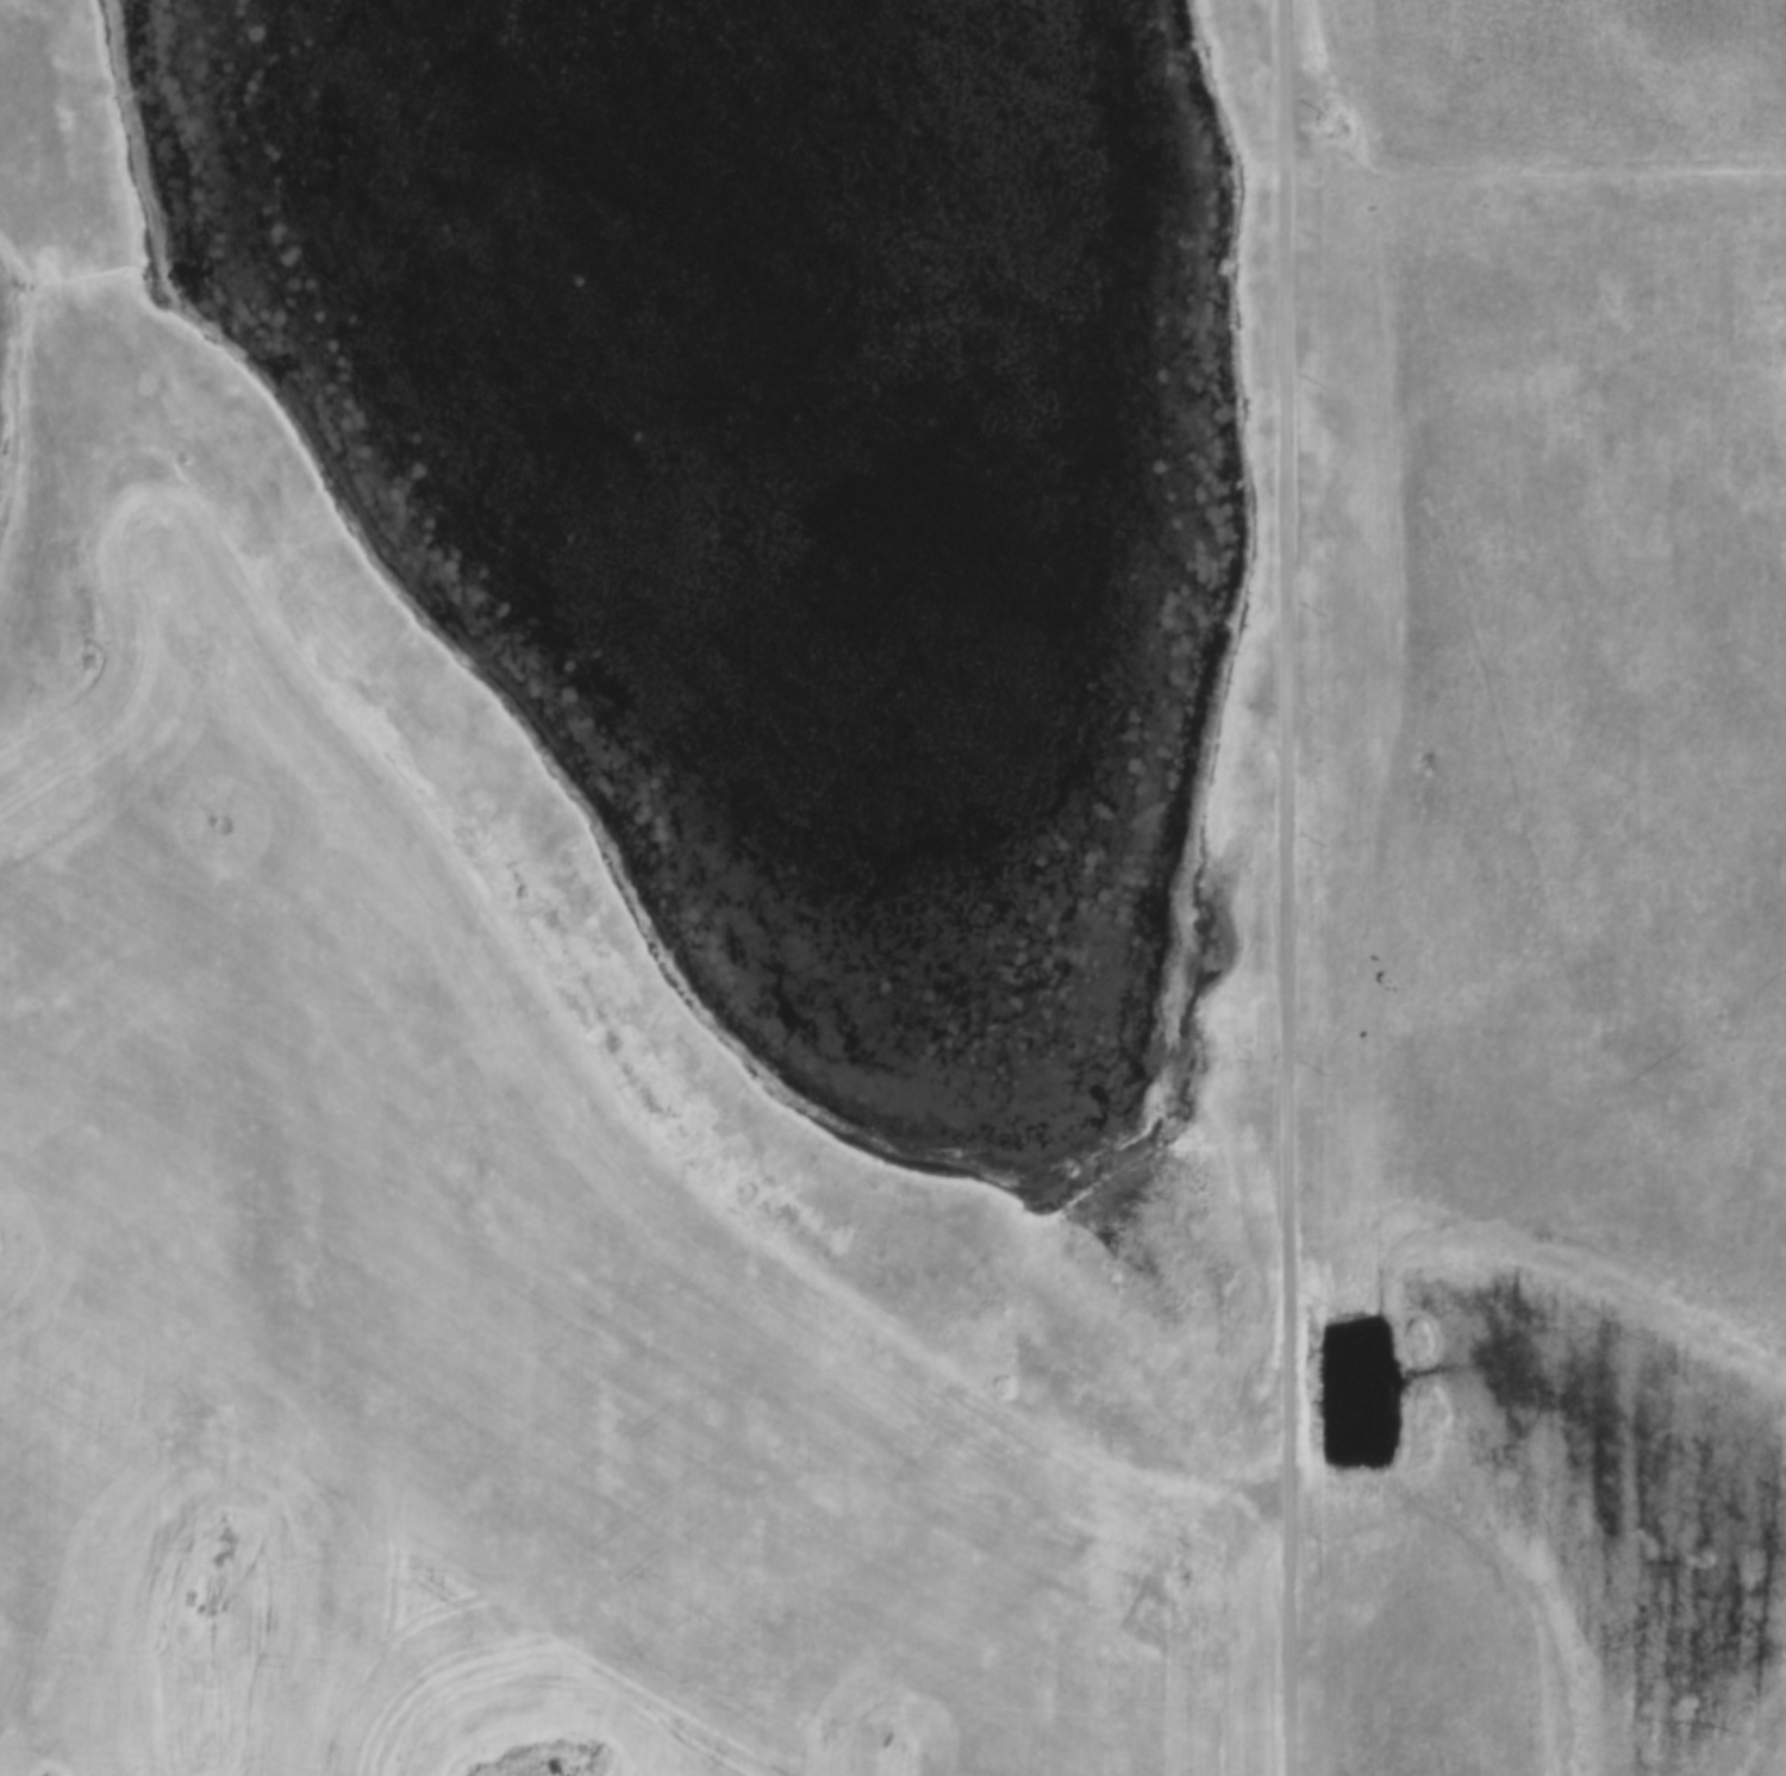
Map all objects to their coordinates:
road: (1286, 888)

